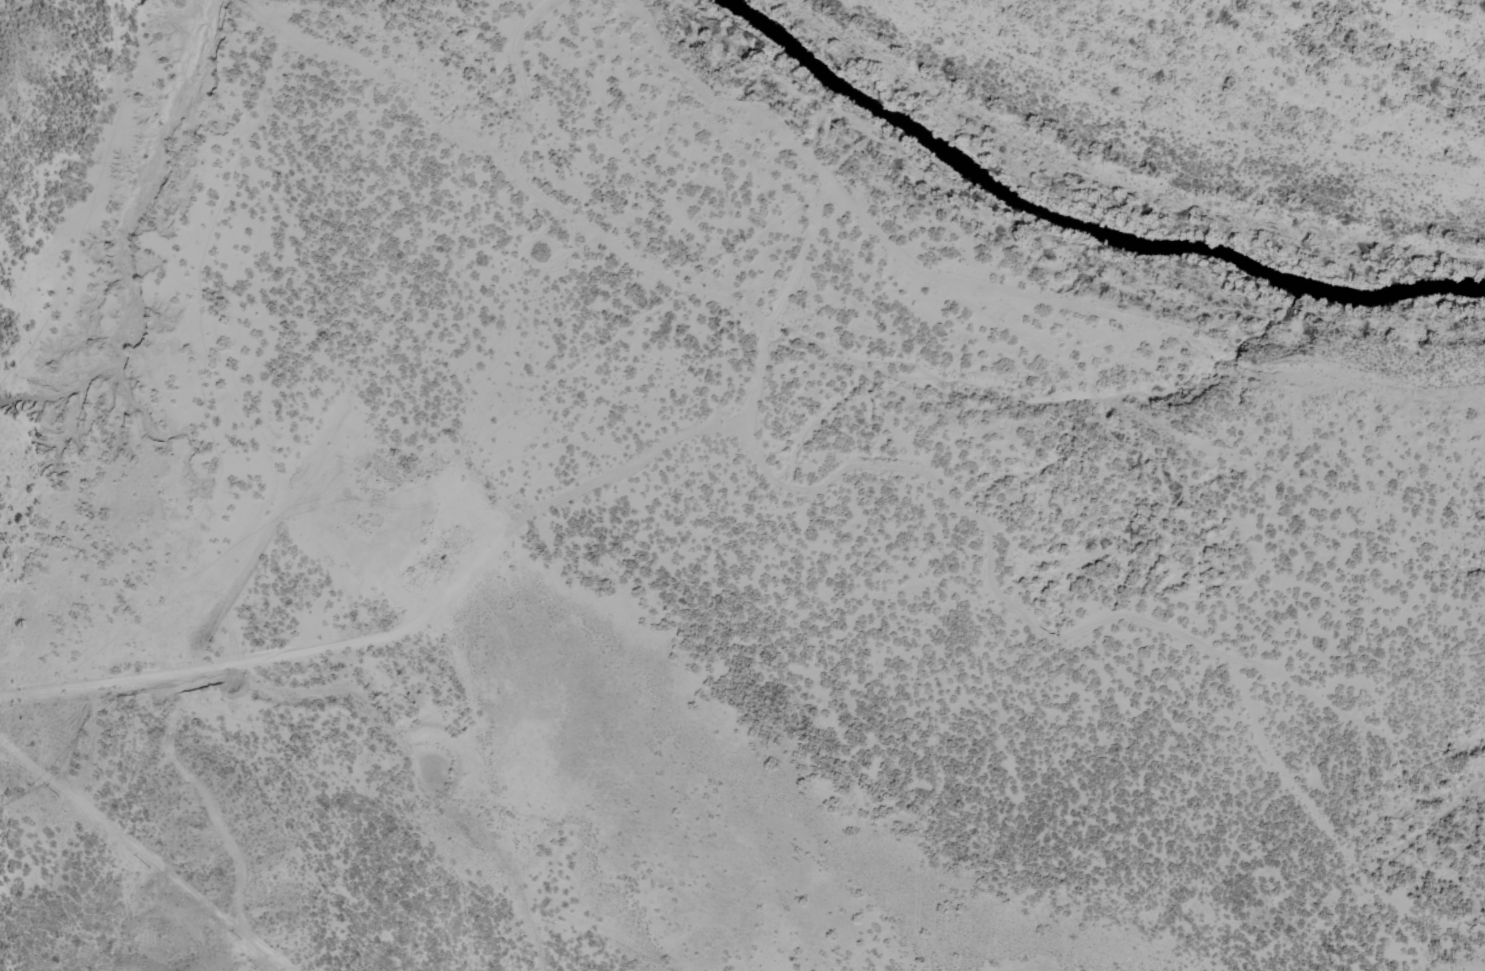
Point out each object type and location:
river: (1089, 207)

